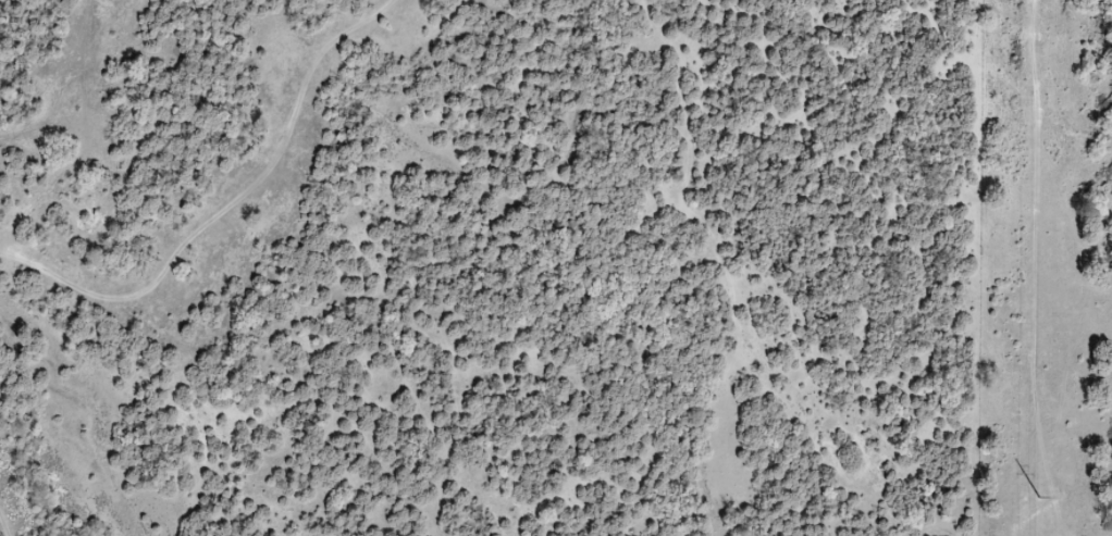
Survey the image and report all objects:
power tower: (1038, 496)

